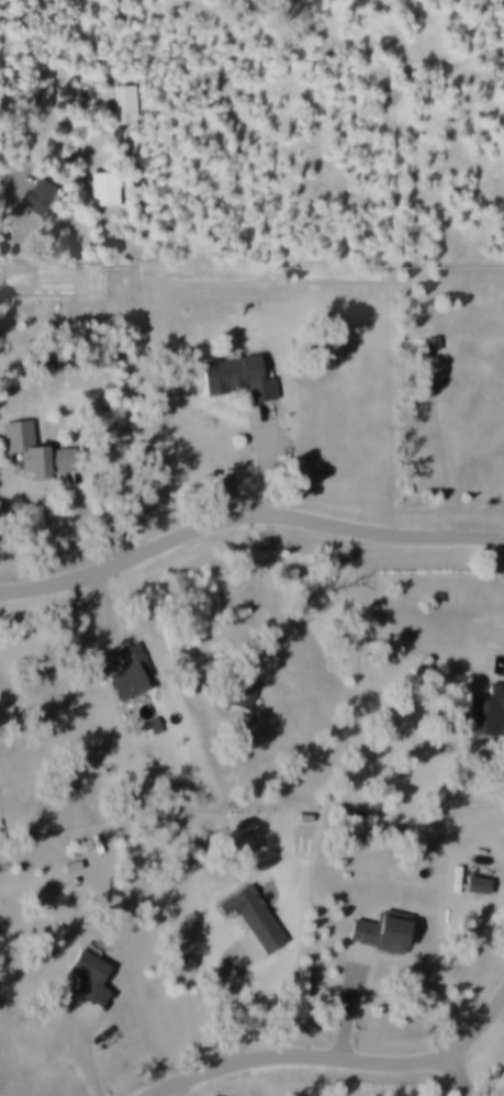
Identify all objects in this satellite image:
building: (35, 201)
building: (240, 379)
building: (31, 452)
road: (246, 517)
building: (126, 673)
building: (238, 695)
building: (483, 709)
building: (248, 918)
building: (373, 935)
building: (83, 977)
road: (340, 1061)

